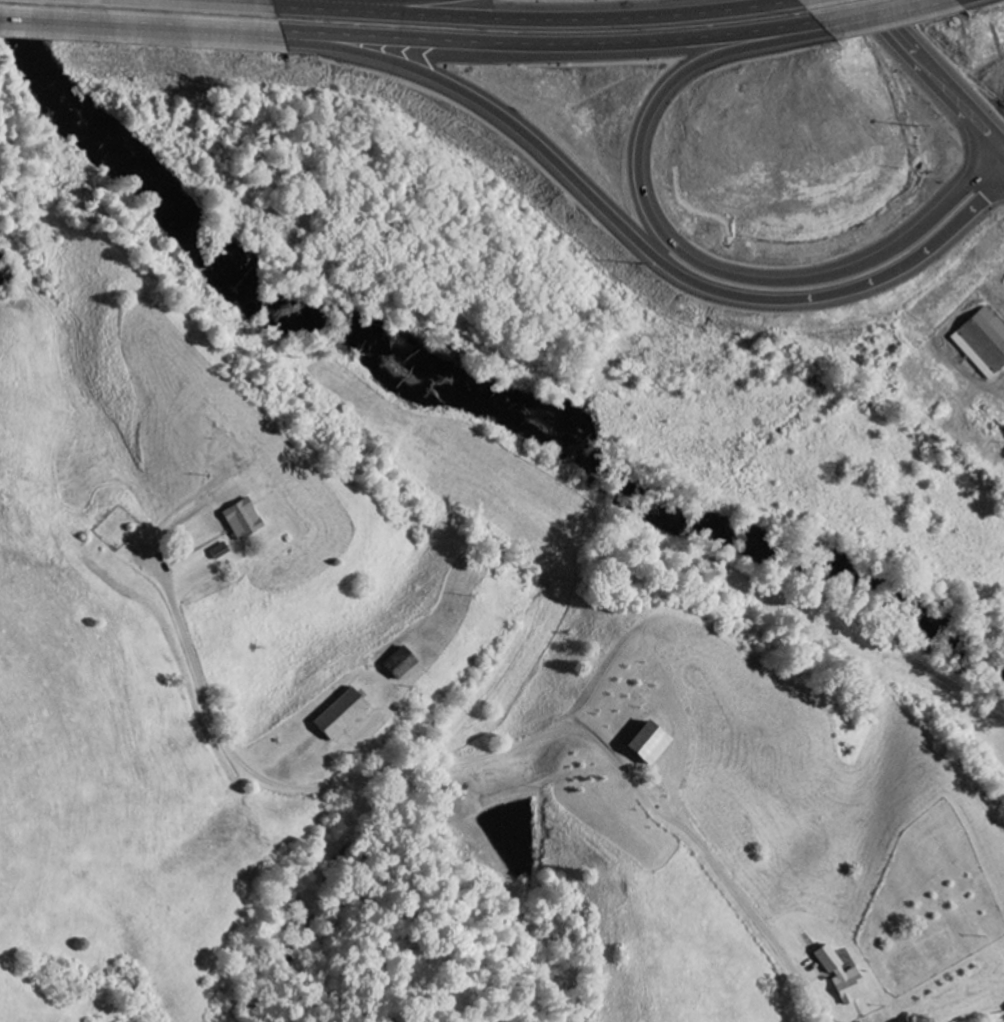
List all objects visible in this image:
road: (411, 1)
road: (546, 9)
road: (876, 13)
road: (883, 24)
road: (139, 26)
road: (546, 42)
road: (955, 101)
road: (607, 221)
road: (679, 251)
building: (980, 342)
river: (466, 371)
building: (239, 520)
building: (217, 552)
building: (397, 665)
building: (337, 716)
building: (644, 745)
road: (492, 755)
building: (839, 978)

